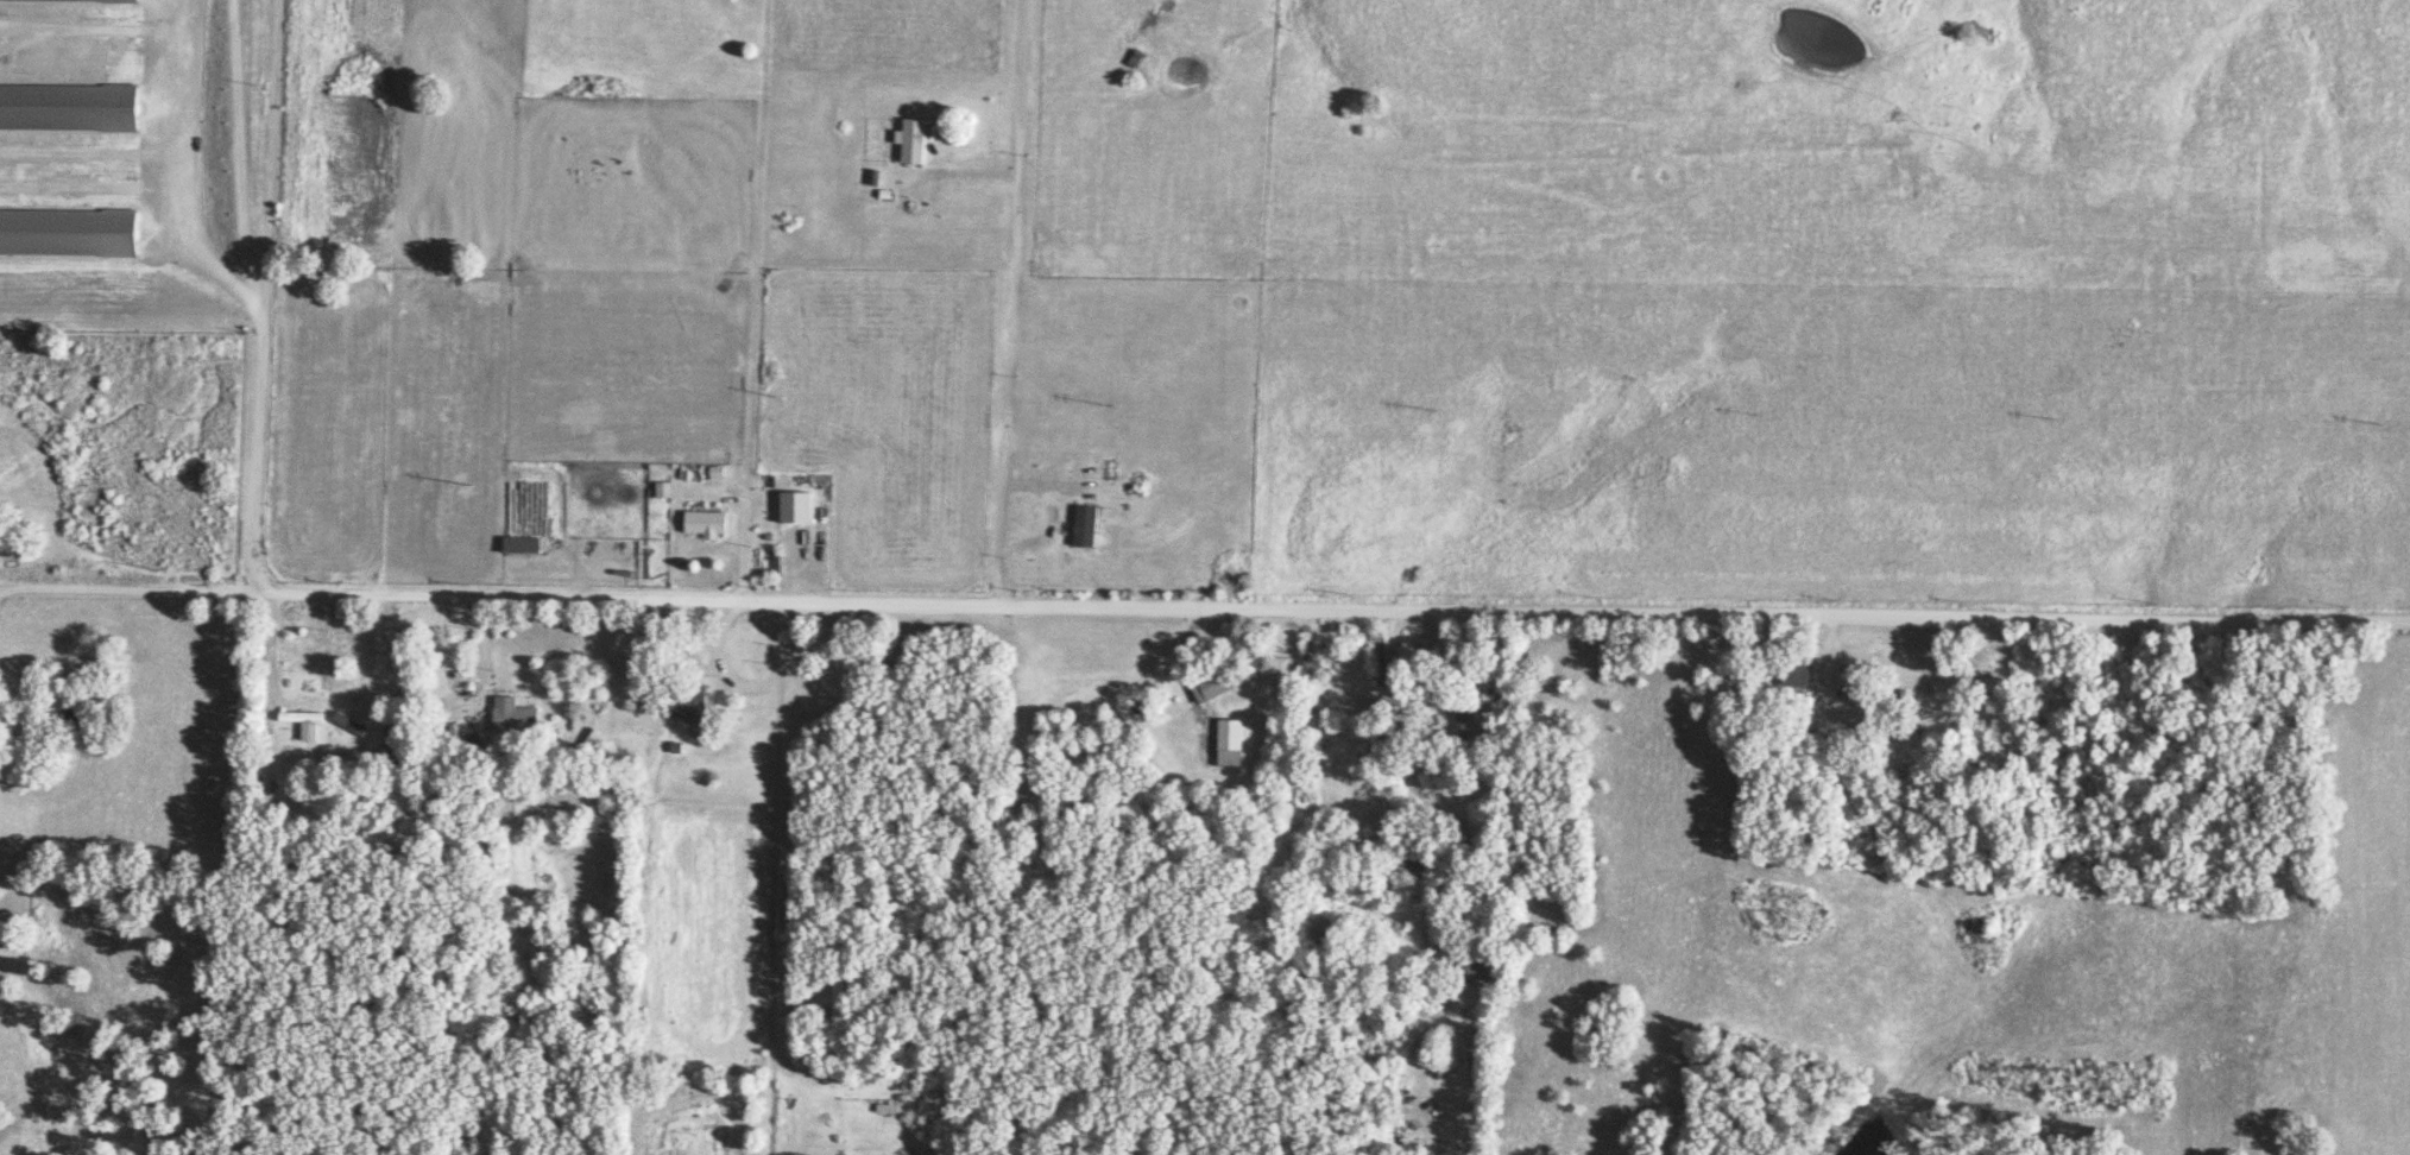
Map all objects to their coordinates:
building: (909, 144)
road: (264, 295)
road: (756, 301)
road: (1011, 305)
building: (702, 524)
building: (1081, 529)
building: (518, 547)
road: (127, 591)
road: (10, 599)
road: (1332, 613)
building: (1377, 657)
building: (1788, 676)
road: (585, 679)
building: (1209, 686)
building: (1973, 686)
building: (684, 705)
building: (1449, 715)
building: (512, 720)
building: (1226, 744)
road: (1483, 780)
building: (1402, 872)
road: (774, 879)
building: (1468, 972)
building: (841, 1005)

